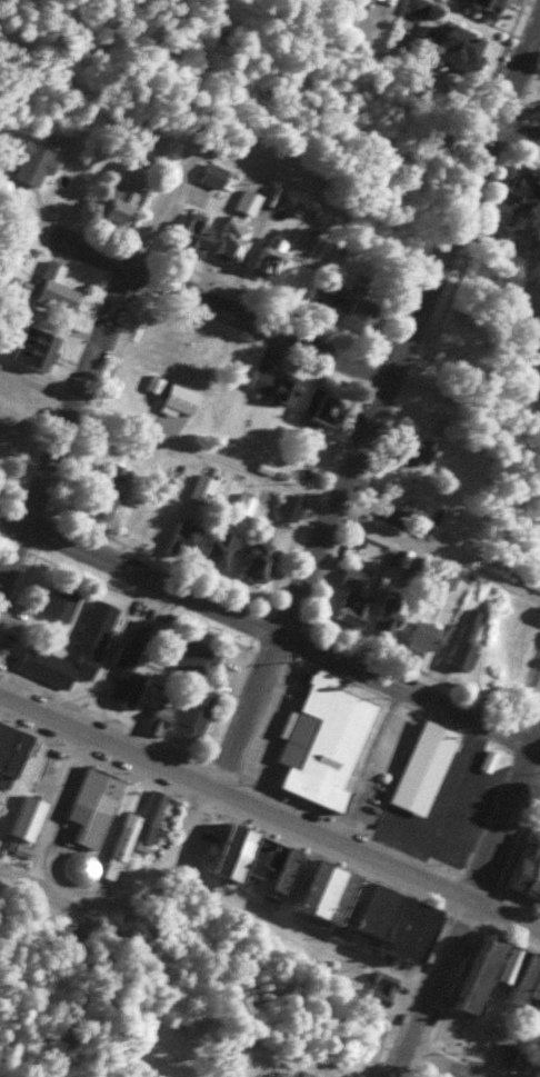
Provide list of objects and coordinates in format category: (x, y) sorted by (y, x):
building: (417, 8)
road: (378, 20)
building: (461, 44)
road: (451, 94)
park: (534, 98)
building: (31, 163)
building: (518, 195)
building: (122, 198)
building: (196, 235)
building: (233, 243)
building: (271, 255)
building: (59, 288)
building: (334, 295)
road: (216, 306)
building: (363, 311)
building: (38, 347)
building: (454, 356)
road: (93, 360)
building: (157, 383)
building: (276, 385)
building: (180, 400)
road: (378, 402)
building: (324, 407)
building: (417, 448)
road: (271, 478)
building: (109, 491)
building: (291, 507)
building: (188, 535)
building: (221, 549)
building: (260, 560)
building: (62, 599)
building: (353, 599)
building: (389, 615)
building: (97, 625)
road: (268, 635)
building: (468, 639)
building: (421, 640)
building: (191, 651)
building: (128, 672)
building: (194, 714)
building: (160, 718)
building: (324, 741)
building: (11, 752)
building: (488, 760)
building: (424, 767)
building: (94, 805)
road: (270, 810)
road: (504, 817)
building: (138, 829)
road: (169, 866)
building: (527, 866)
building: (79, 868)
building: (336, 890)
road: (42, 892)
building: (501, 974)
road: (432, 987)
building: (383, 988)
building: (510, 1054)
road: (434, 1064)
building: (294, 1076)

